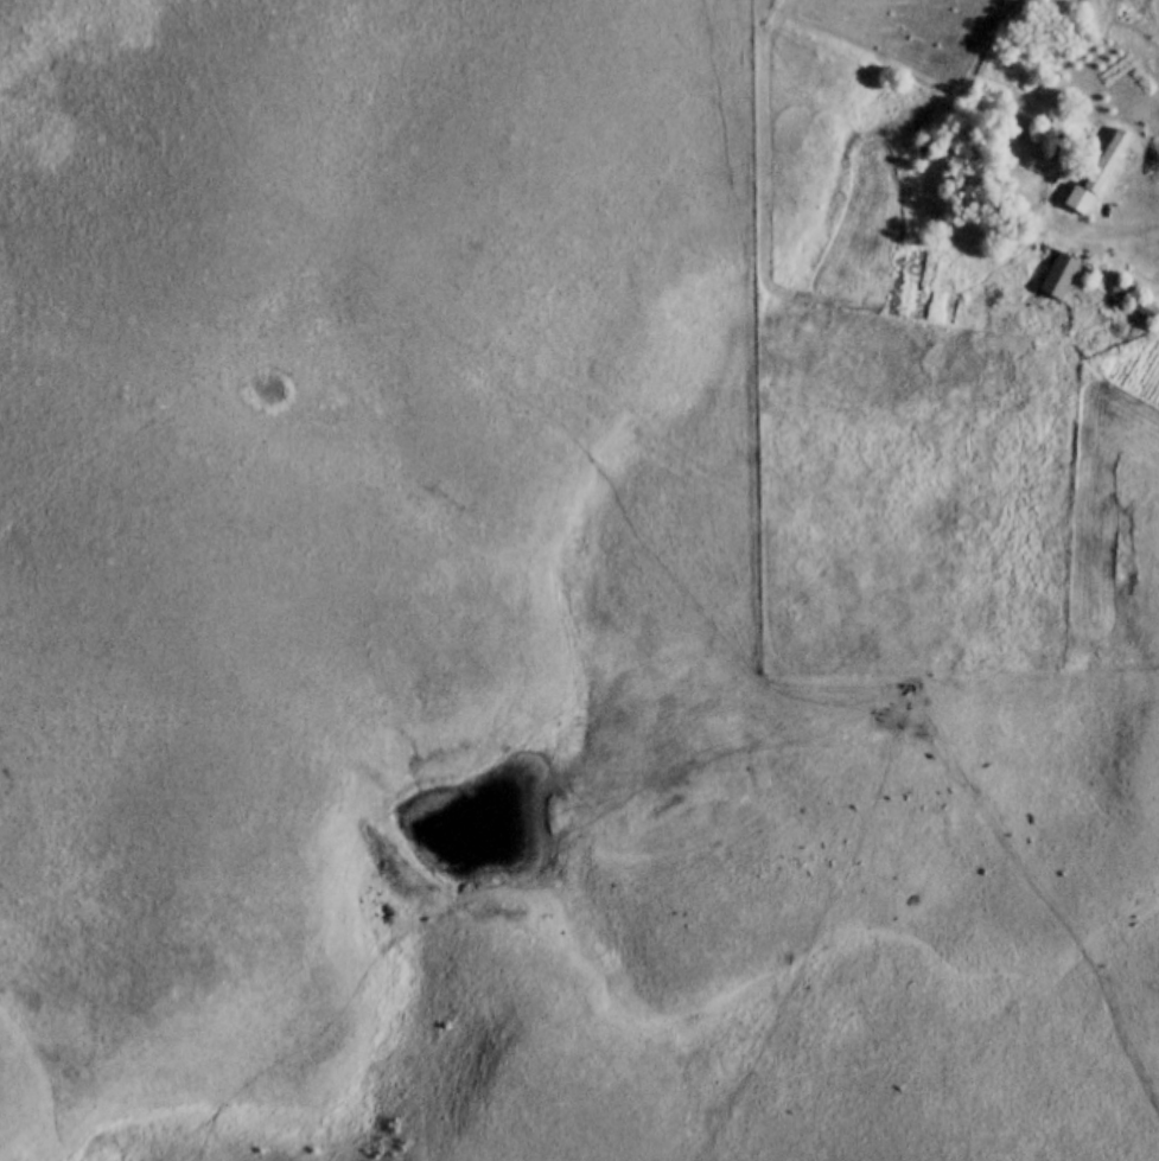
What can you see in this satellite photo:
building: (1066, 149)
building: (1101, 174)
road: (1121, 232)
building: (1062, 276)

